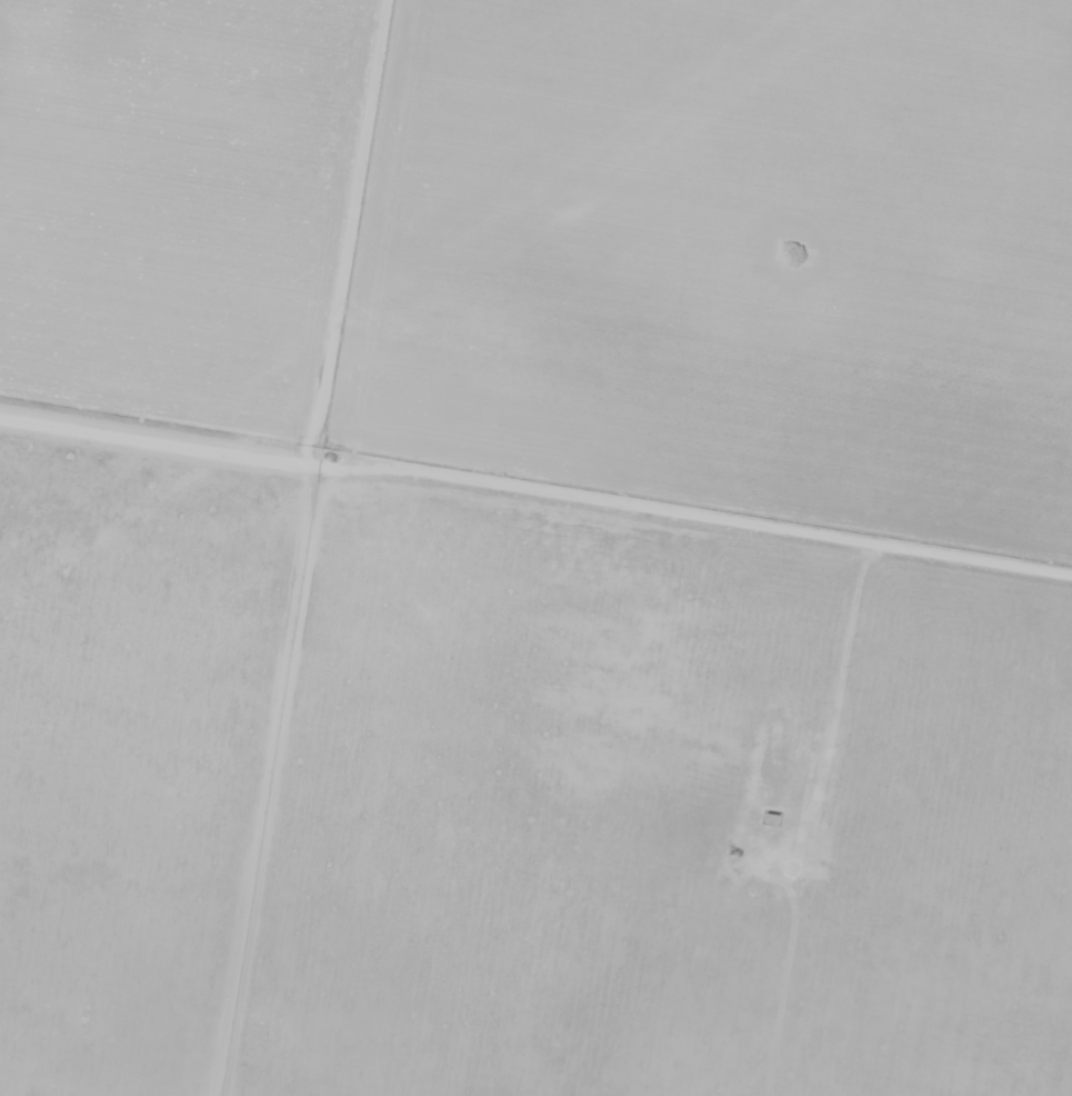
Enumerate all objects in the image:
road: (345, 228)
road: (535, 490)

